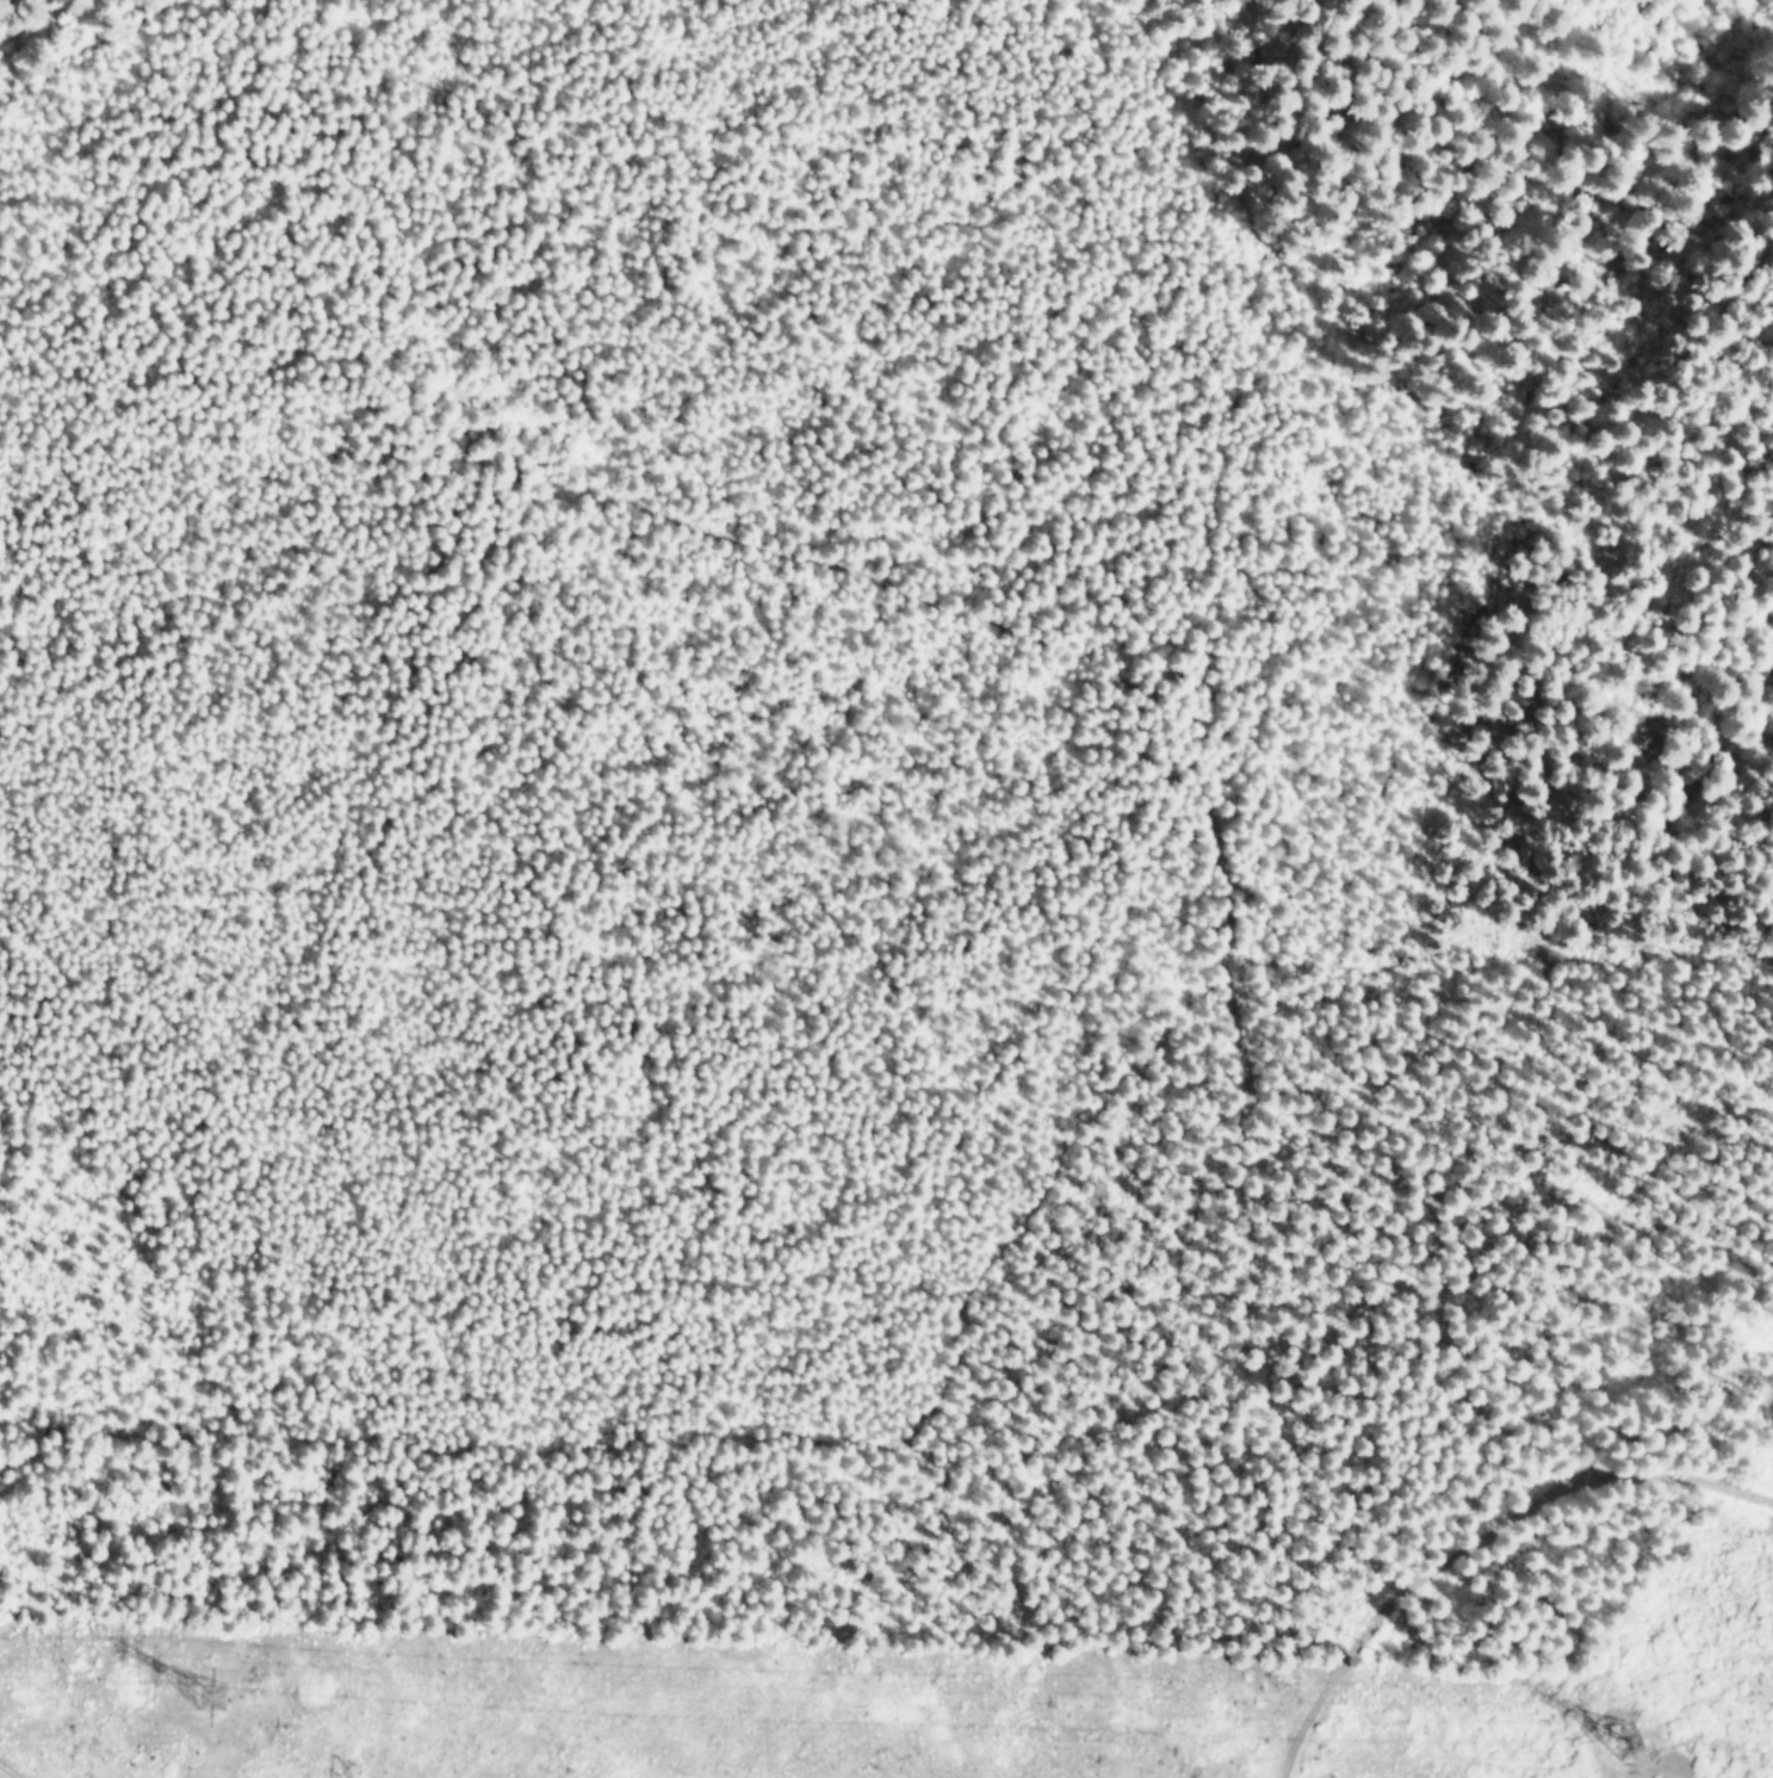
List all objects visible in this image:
power tower: (240, 1711)
power tower: (1651, 1746)
road: (14, 1765)

